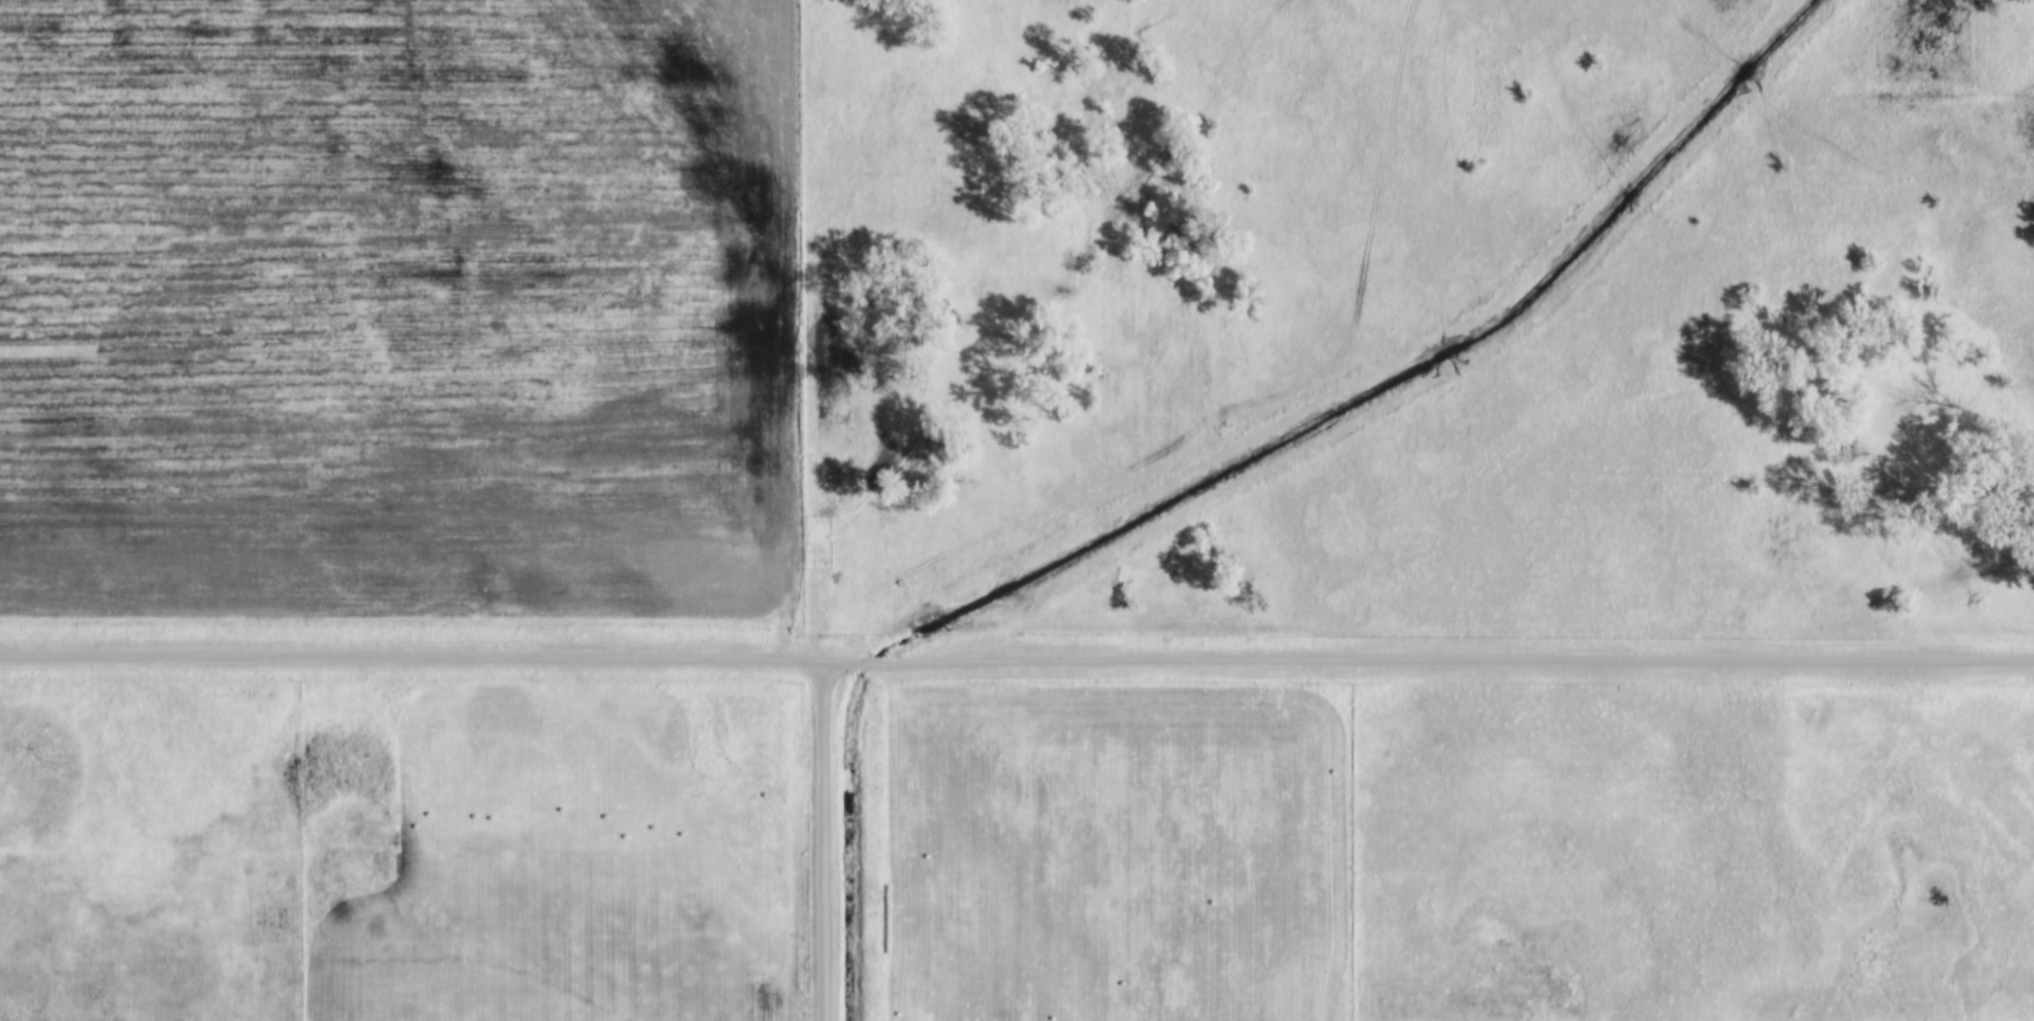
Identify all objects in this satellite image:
road: (426, 657)
road: (1454, 661)
road: (864, 665)
road: (821, 842)

